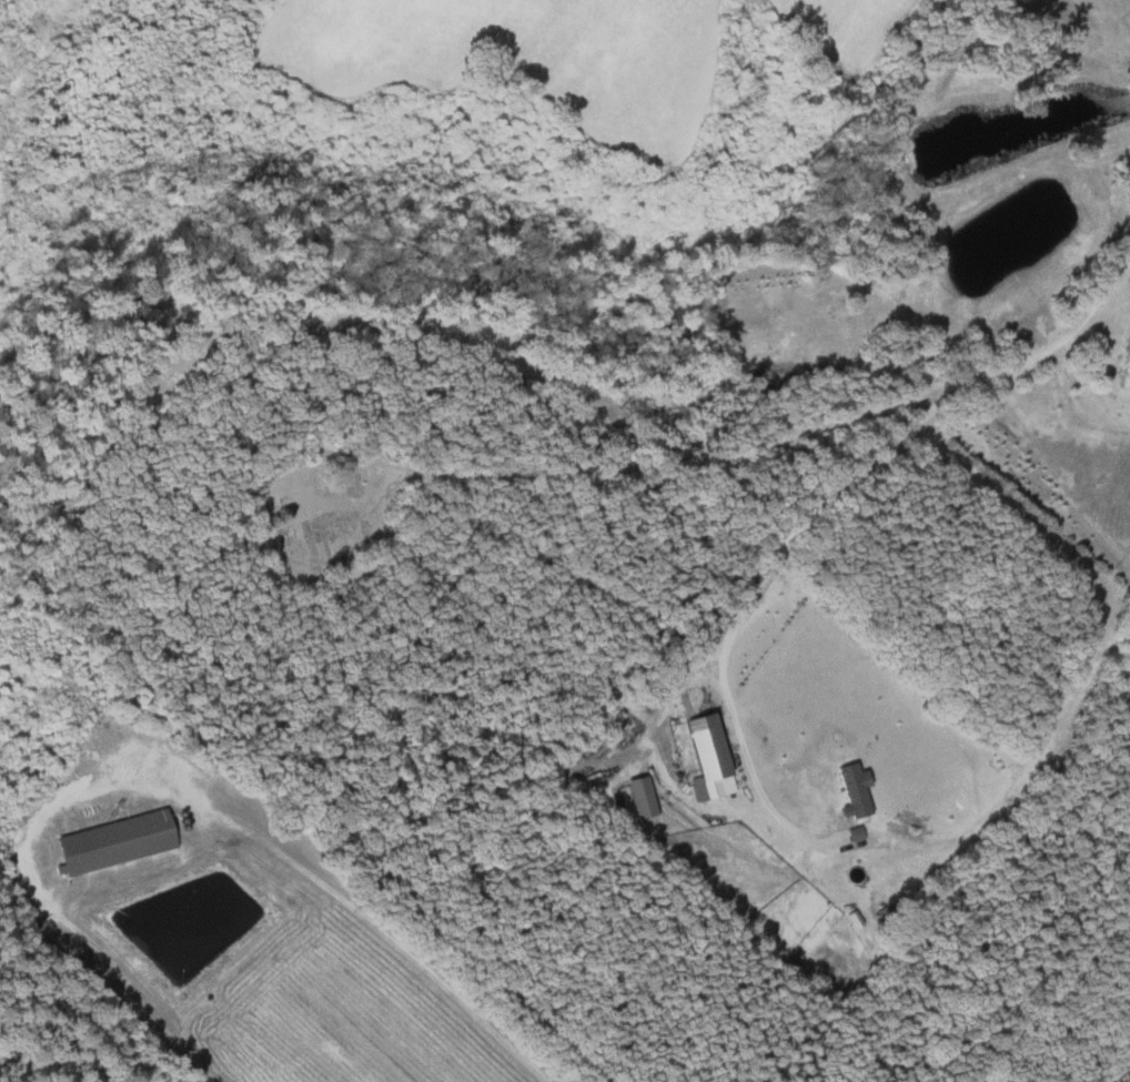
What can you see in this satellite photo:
road: (1040, 354)
building: (705, 754)
building: (851, 791)
building: (638, 798)
building: (111, 843)
road: (889, 843)

